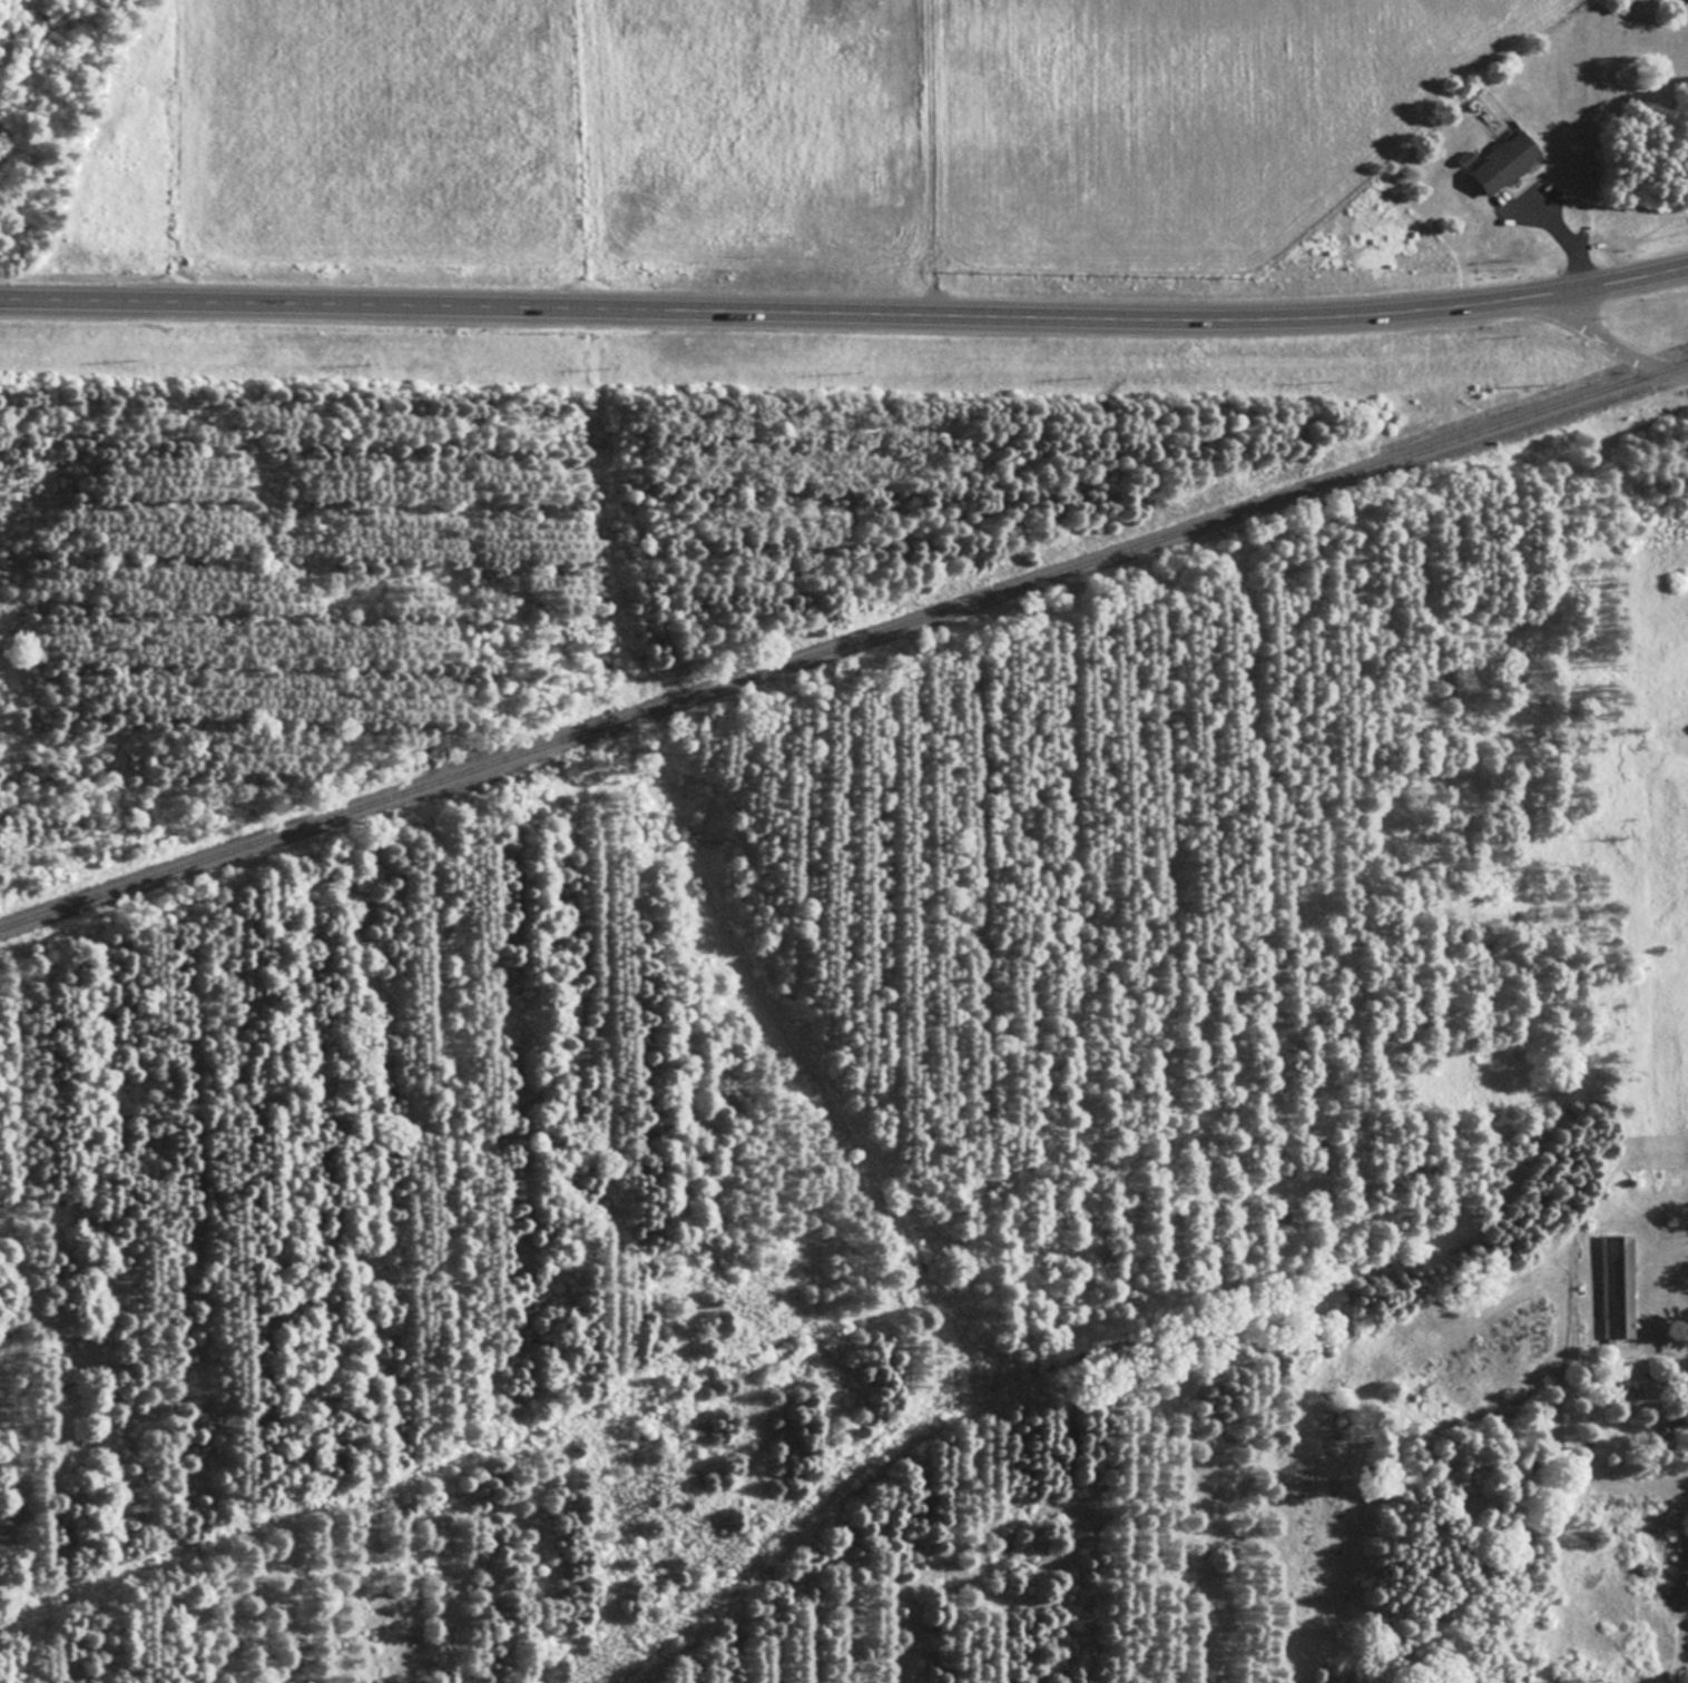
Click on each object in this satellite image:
road: (928, 156)
building: (1498, 161)
road: (1561, 233)
road: (845, 311)
road: (1613, 344)
railway: (842, 640)
road: (1676, 1249)
building: (1615, 1286)

